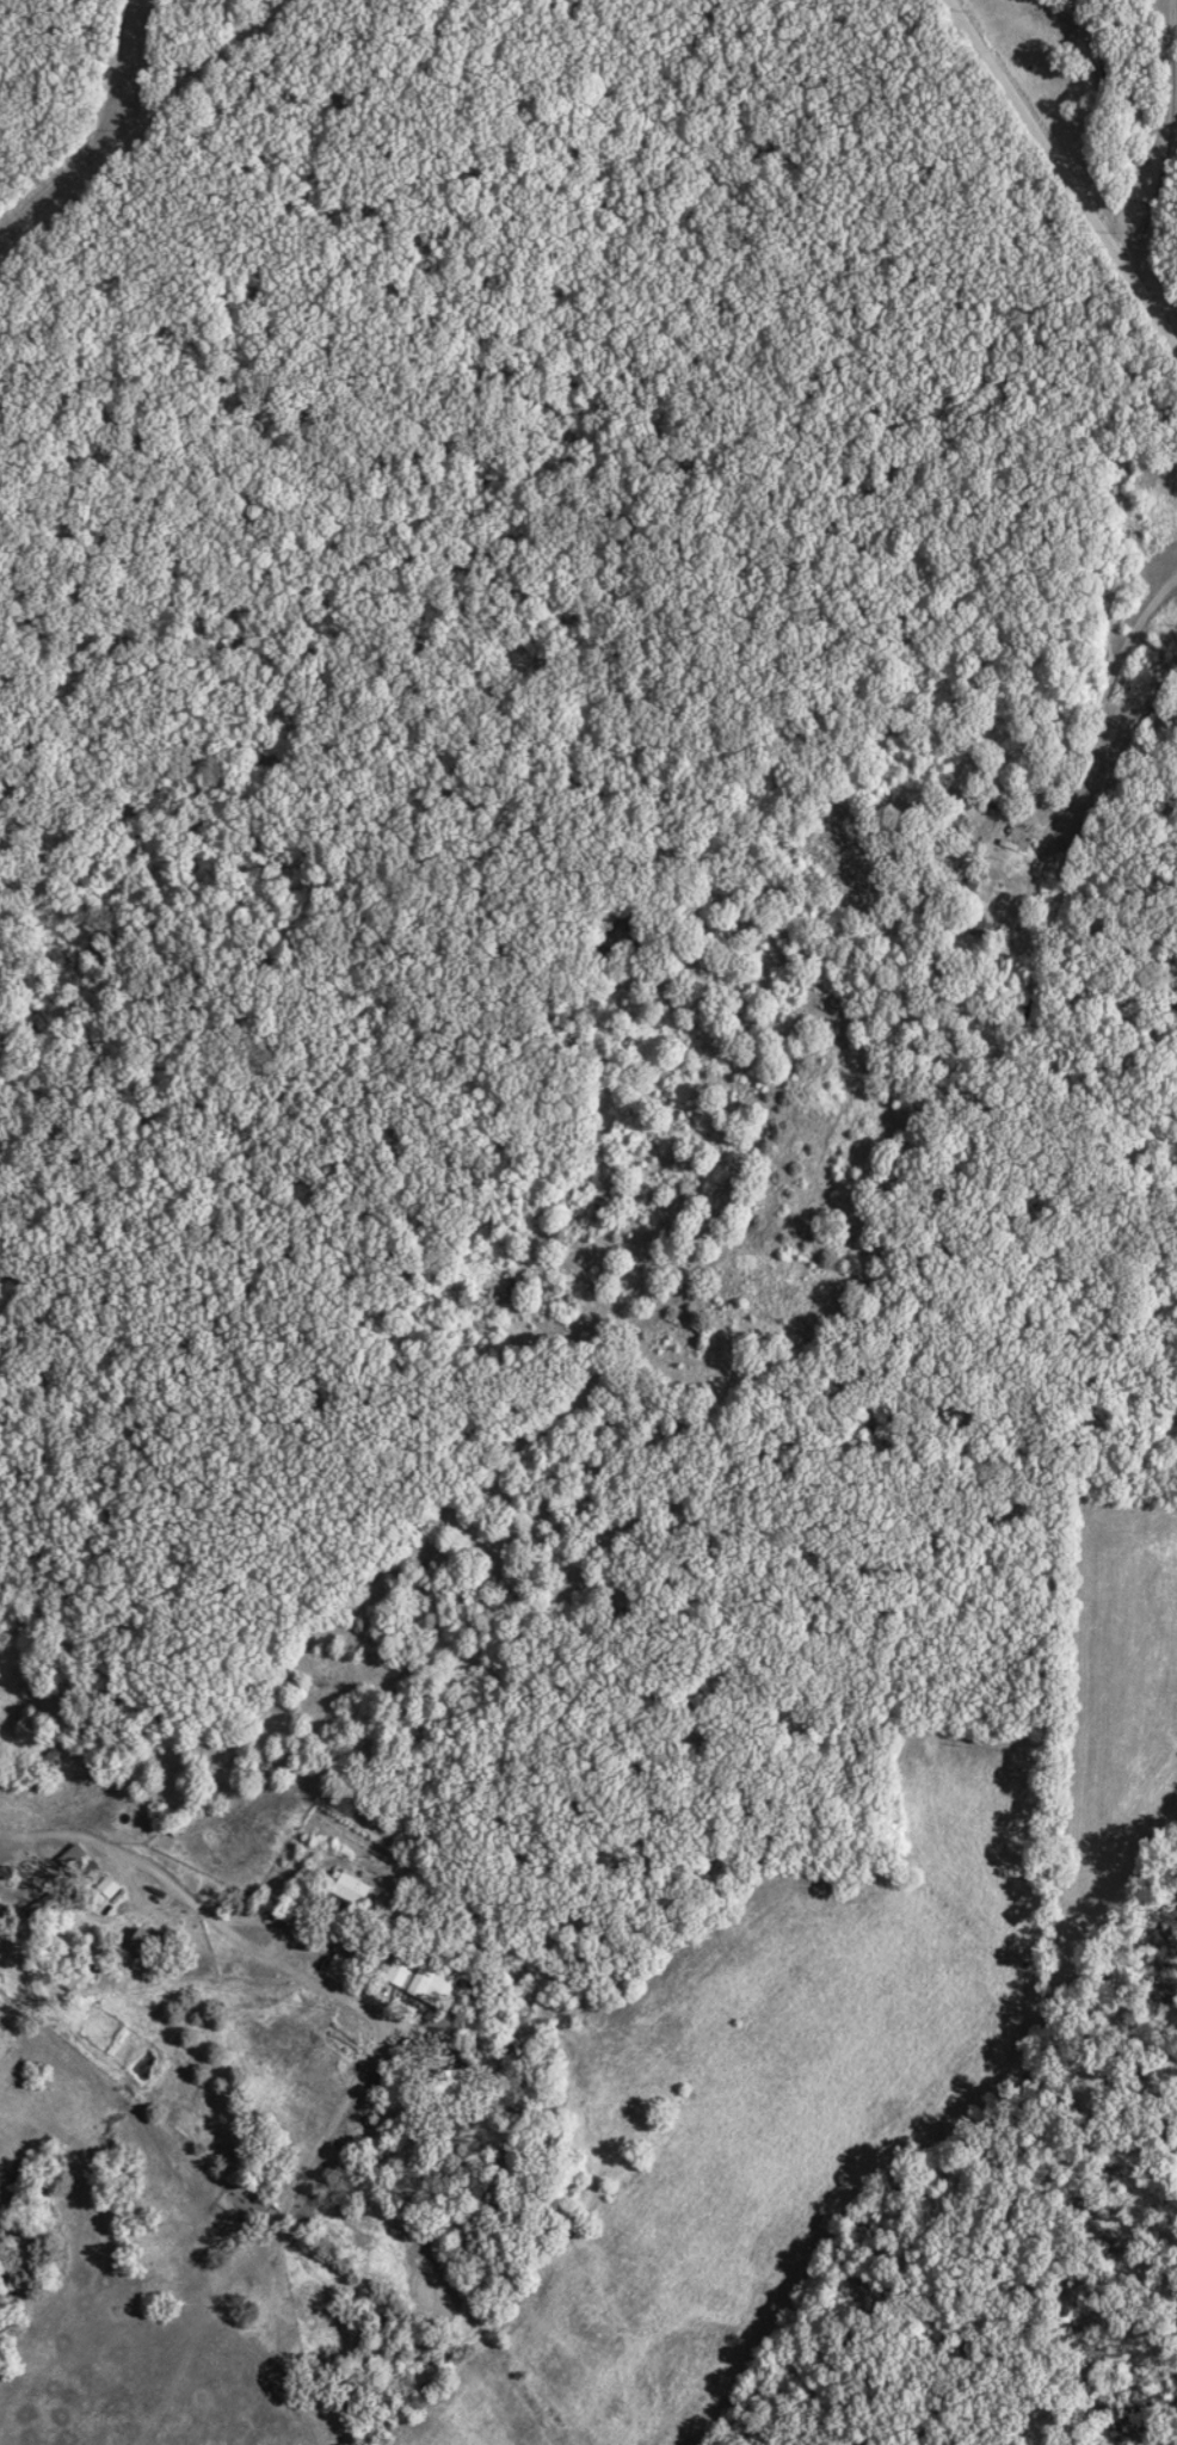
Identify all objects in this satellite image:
road: (140, 133)
road: (1167, 141)
road: (1061, 178)
road: (1089, 707)
building: (960, 829)
building: (981, 932)
building: (80, 1866)
building: (351, 1891)
road: (204, 1913)
building: (148, 1946)
building: (75, 1971)
building: (456, 2084)

